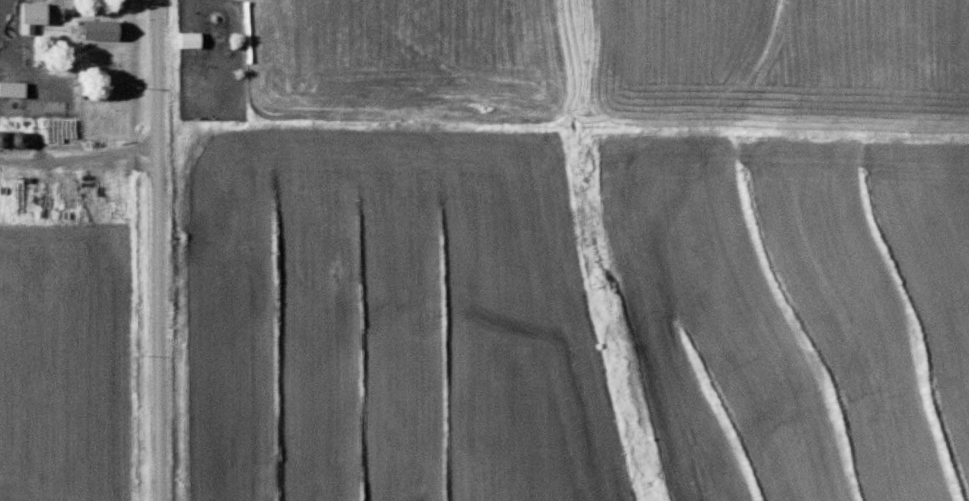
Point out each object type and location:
building: (33, 14)
building: (98, 29)
building: (188, 39)
road: (160, 250)

